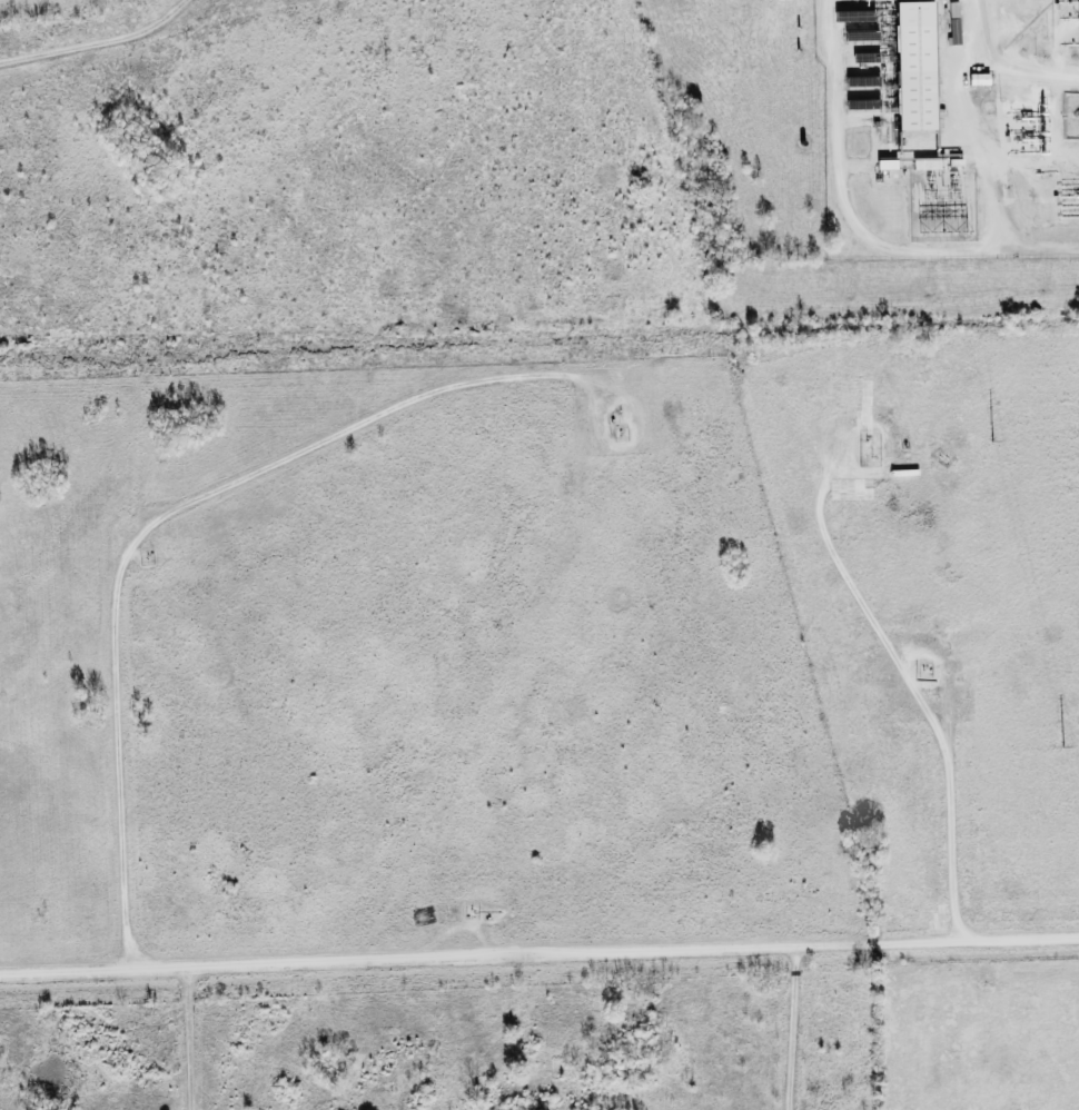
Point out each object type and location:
road: (87, 37)
building: (915, 65)
building: (929, 162)
power substation: (942, 204)
road: (857, 226)
road: (156, 523)
road: (538, 953)
road: (792, 1027)
road: (187, 1039)

